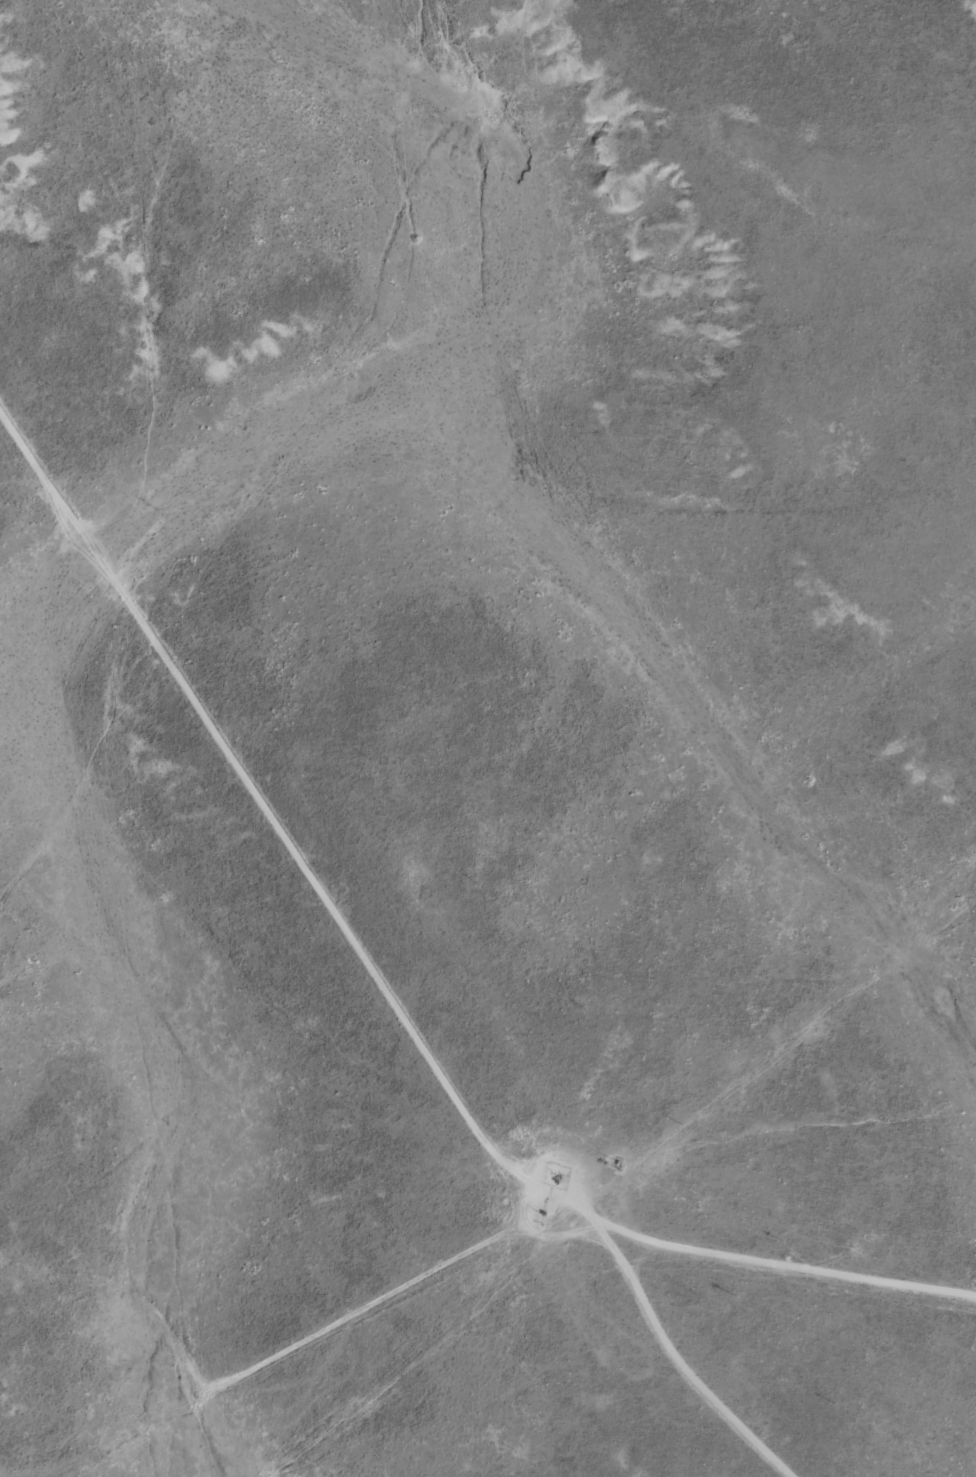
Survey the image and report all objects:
road: (621, 1220)

